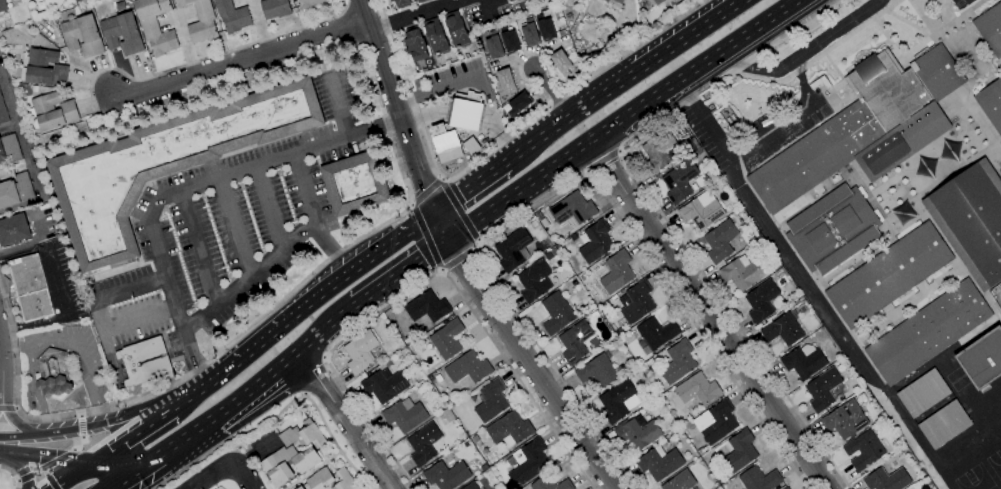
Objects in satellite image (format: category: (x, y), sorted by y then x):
building: (510, 0)
building: (518, 0)
building: (422, 1)
building: (658, 2)
building: (308, 3)
building: (401, 3)
building: (614, 3)
parking lot: (961, 4)
building: (3, 6)
building: (275, 9)
building: (59, 11)
road: (415, 15)
building: (232, 16)
building: (584, 19)
building: (200, 20)
building: (155, 26)
building: (545, 28)
building: (990, 28)
building: (456, 29)
building: (531, 33)
building: (122, 34)
building: (82, 36)
building: (436, 37)
building: (509, 40)
building: (415, 45)
building: (495, 46)
road: (805, 51)
building: (561, 62)
road: (235, 63)
building: (43, 68)
building: (585, 71)
road: (480, 76)
building: (506, 79)
road: (622, 80)
building: (729, 82)
building: (35, 88)
road: (551, 90)
road: (684, 93)
building: (519, 103)
building: (991, 104)
road: (338, 107)
building: (3, 112)
building: (52, 112)
building: (724, 113)
building: (466, 114)
building: (732, 117)
building: (517, 119)
road: (788, 119)
building: (728, 120)
road: (624, 121)
road: (388, 126)
building: (864, 128)
road: (711, 130)
parking lot: (745, 134)
building: (452, 144)
building: (694, 144)
road: (497, 146)
building: (9, 149)
building: (659, 151)
building: (699, 152)
flagpole: (434, 157)
road: (602, 162)
building: (163, 165)
building: (1000, 171)
road: (570, 181)
building: (679, 181)
building: (355, 183)
road: (183, 188)
road: (470, 189)
building: (15, 190)
road: (269, 209)
building: (573, 209)
road: (661, 211)
traffic signals: (434, 213)
road: (459, 213)
building: (701, 213)
road: (413, 220)
building: (971, 220)
road: (235, 227)
building: (832, 229)
building: (13, 230)
parking lot: (230, 230)
traffic signals: (447, 240)
building: (720, 240)
building: (596, 241)
road: (200, 246)
road: (333, 248)
building: (513, 249)
building: (552, 251)
road: (280, 254)
road: (457, 259)
road: (460, 259)
building: (614, 272)
building: (743, 272)
road: (398, 273)
road: (800, 273)
building: (889, 275)
building: (88, 280)
road: (424, 280)
building: (534, 280)
building: (83, 282)
road: (331, 285)
building: (30, 288)
road: (131, 288)
road: (59, 292)
building: (614, 298)
building: (763, 301)
building: (636, 302)
building: (427, 307)
building: (556, 313)
road: (709, 316)
road: (140, 317)
building: (785, 327)
road: (324, 331)
building: (619, 331)
building: (928, 332)
building: (655, 334)
building: (447, 339)
road: (104, 340)
building: (575, 341)
building: (595, 342)
road: (52, 343)
road: (14, 348)
building: (361, 351)
road: (323, 357)
building: (982, 359)
building: (804, 361)
building: (145, 362)
building: (678, 362)
building: (577, 363)
building: (624, 365)
building: (468, 368)
building: (598, 370)
building: (53, 374)
building: (367, 374)
road: (312, 375)
building: (429, 377)
road: (261, 382)
road: (206, 385)
building: (384, 385)
road: (1, 388)
building: (697, 389)
building: (822, 389)
building: (659, 391)
building: (923, 393)
road: (303, 395)
building: (883, 395)
building: (491, 400)
building: (618, 401)
road: (8, 407)
road: (1, 409)
road: (280, 411)
road: (170, 413)
building: (404, 415)
road: (345, 420)
building: (845, 420)
building: (716, 422)
road: (16, 425)
building: (944, 425)
road: (89, 426)
building: (509, 429)
building: (669, 429)
building: (637, 432)
building: (303, 436)
building: (474, 439)
road: (132, 441)
building: (423, 443)
road: (166, 450)
building: (864, 450)
road: (253, 451)
building: (700, 451)
building: (739, 451)
road: (63, 457)
road: (66, 459)
building: (306, 460)
traffic signals: (103, 461)
building: (527, 462)
building: (659, 462)
park: (996, 462)
building: (279, 466)
building: (483, 467)
road: (18, 468)
road: (222, 469)
road: (13, 474)
road: (79, 475)
traffic signals: (130, 475)
building: (446, 475)
road: (49, 479)
building: (320, 479)
building: (759, 479)
building: (887, 479)
park: (976, 479)
building: (344, 480)
building: (680, 481)
building: (550, 484)
building: (470, 486)
building: (509, 486)
building: (283, 487)
building: (300, 488)
building: (786, 488)

